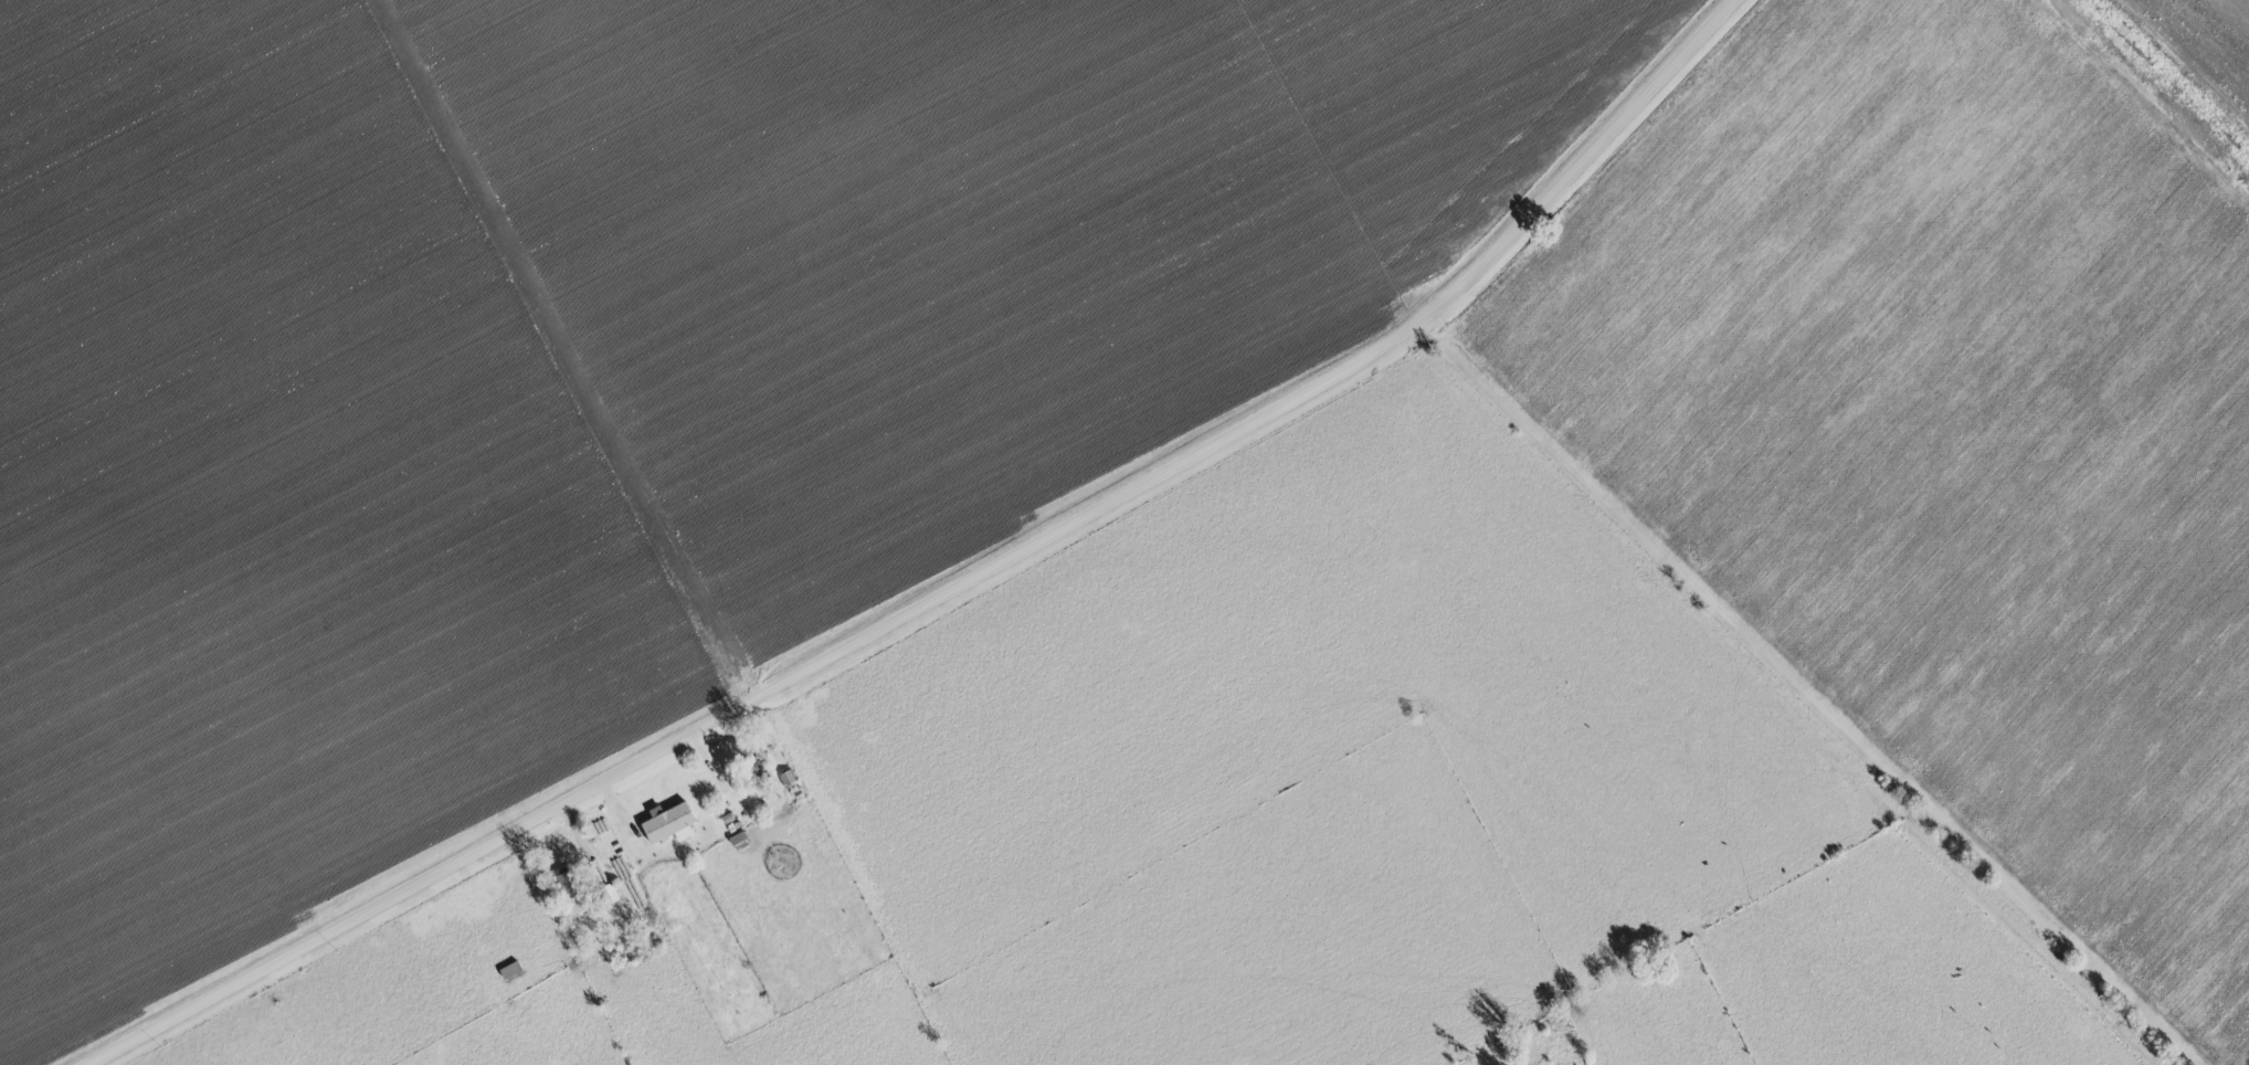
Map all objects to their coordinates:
road: (951, 589)
building: (673, 823)
road: (585, 837)

